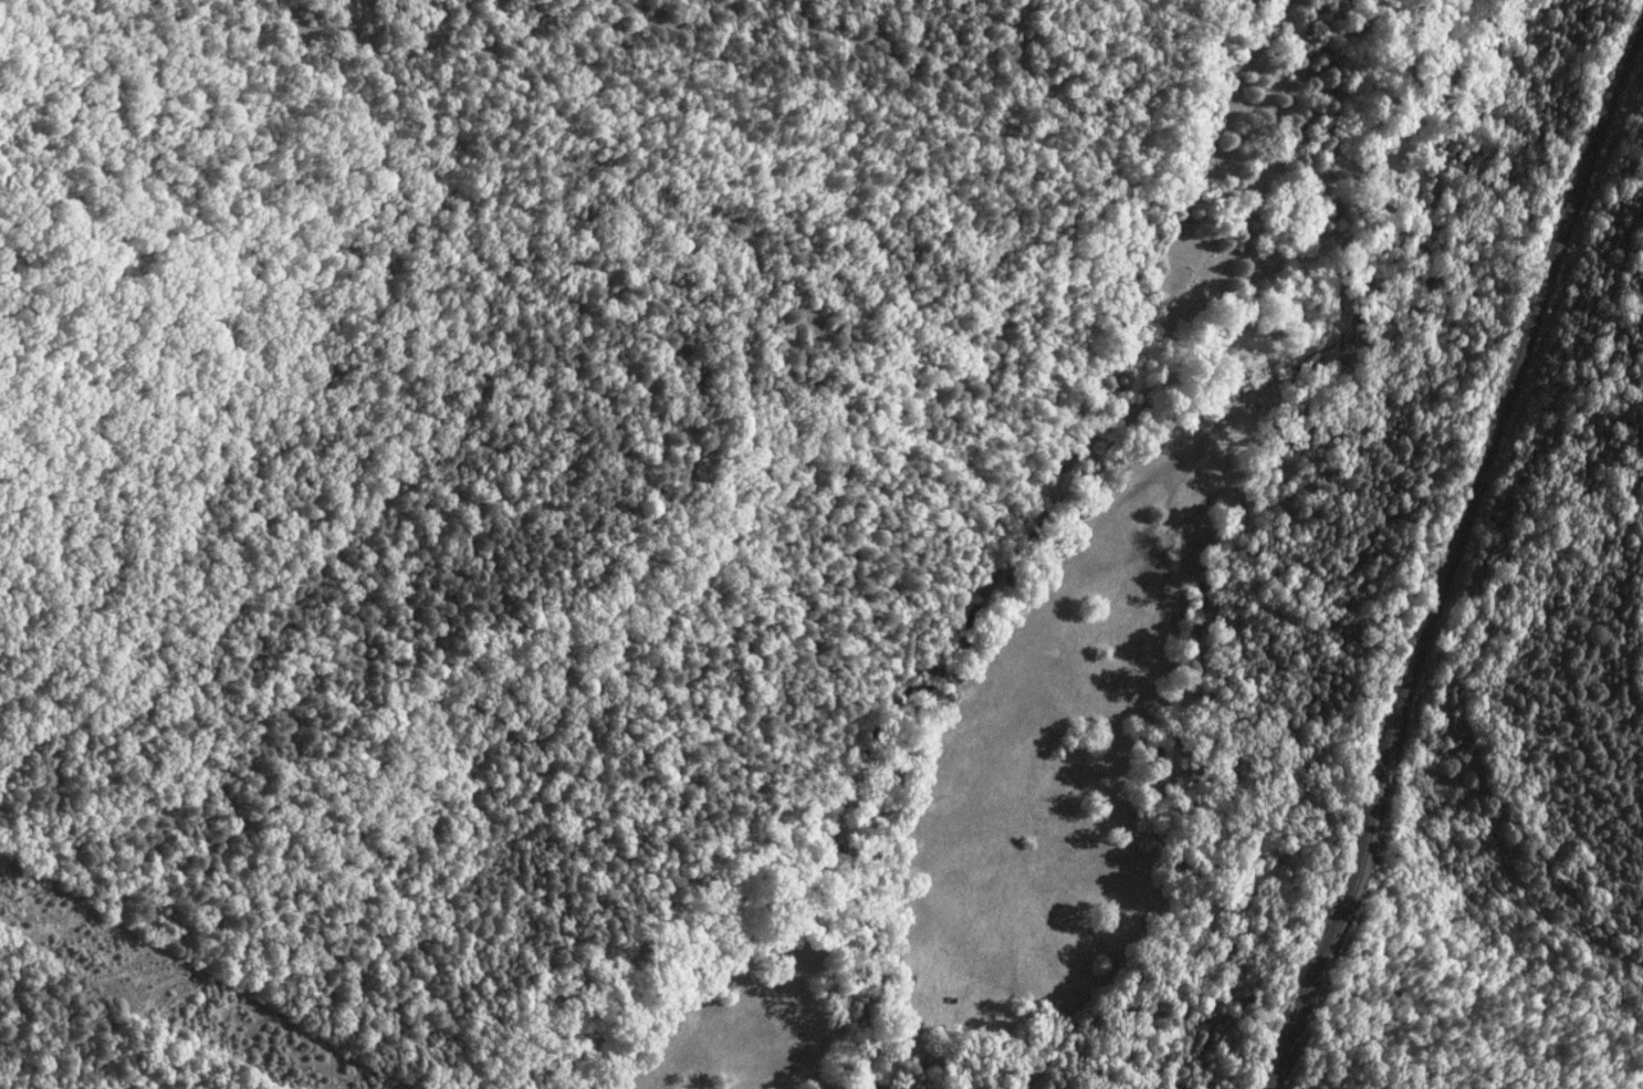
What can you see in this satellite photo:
railway: (1451, 553)

